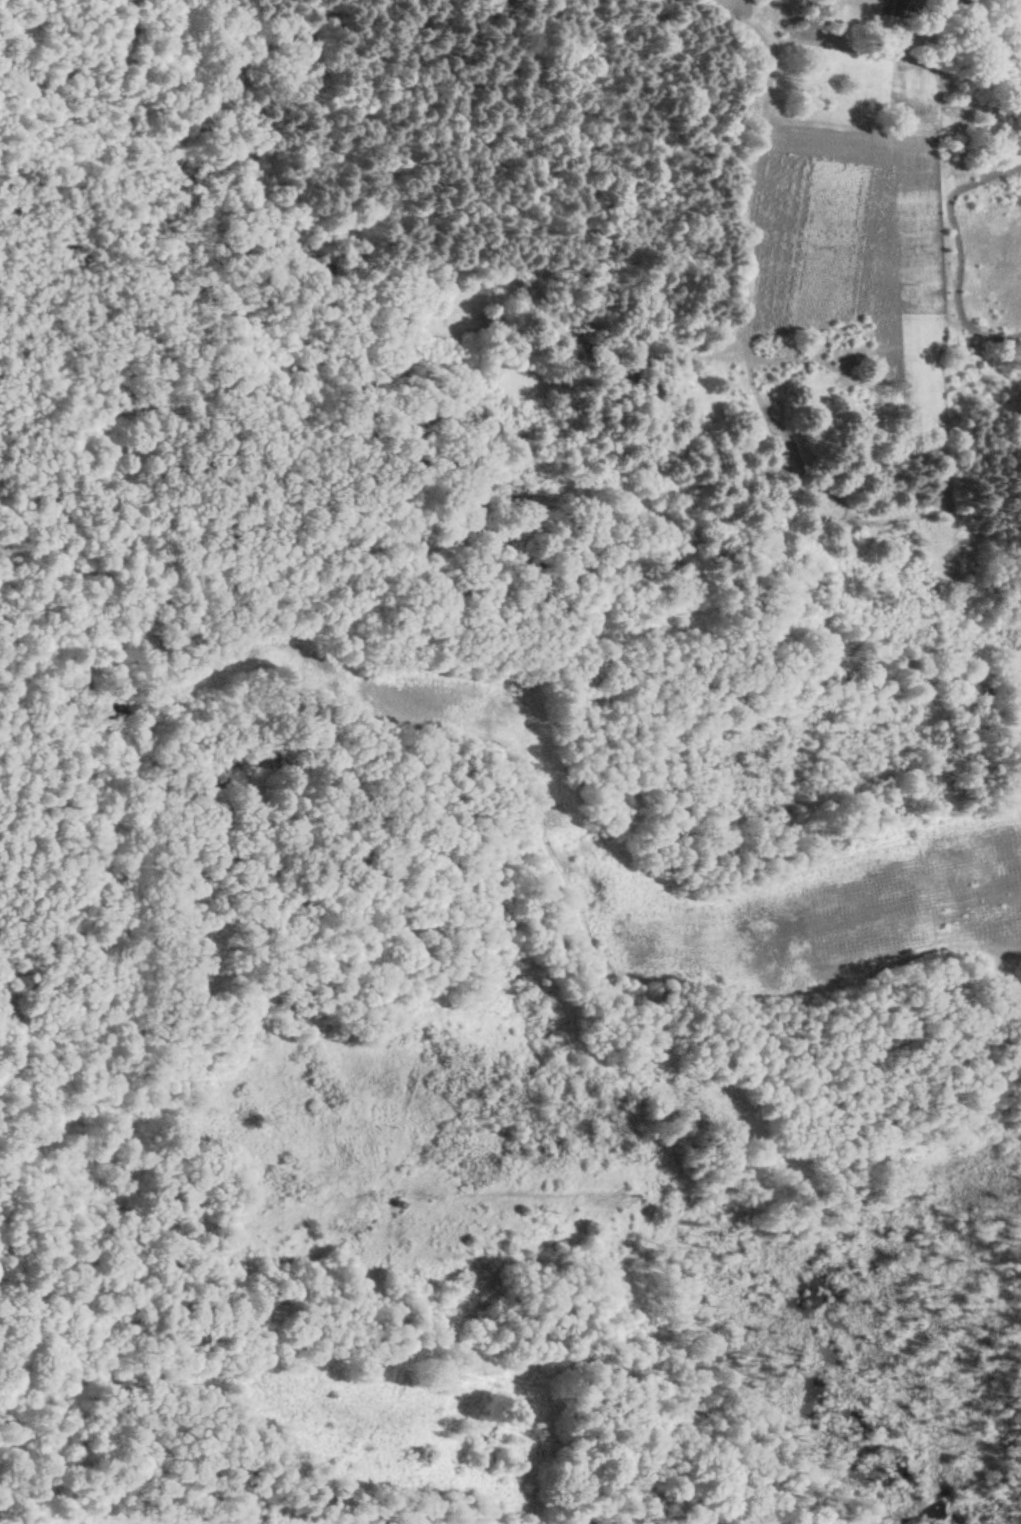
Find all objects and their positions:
building: (899, 6)

